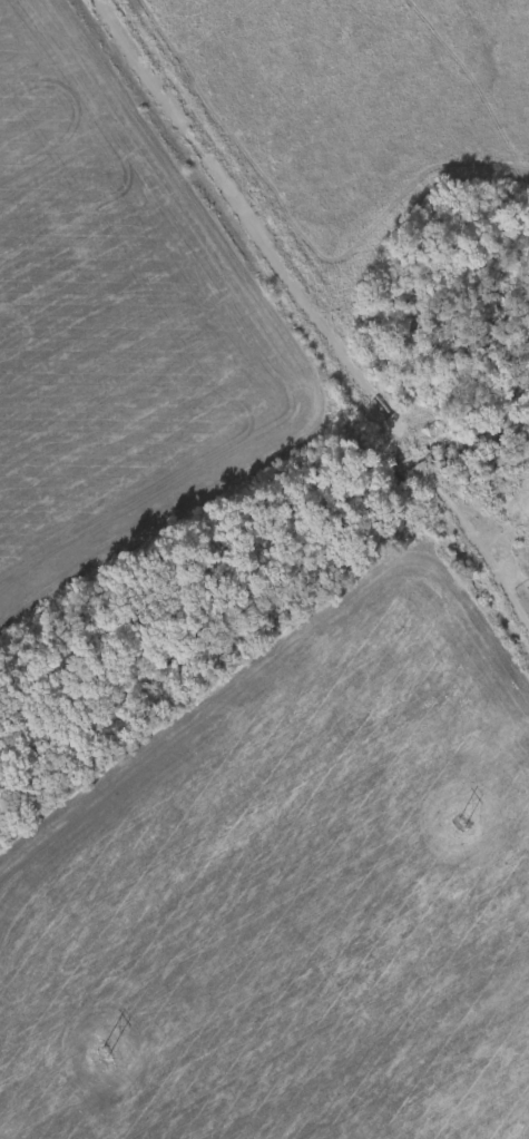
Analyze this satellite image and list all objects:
road: (313, 313)
power tower: (462, 821)
power tower: (104, 1051)

